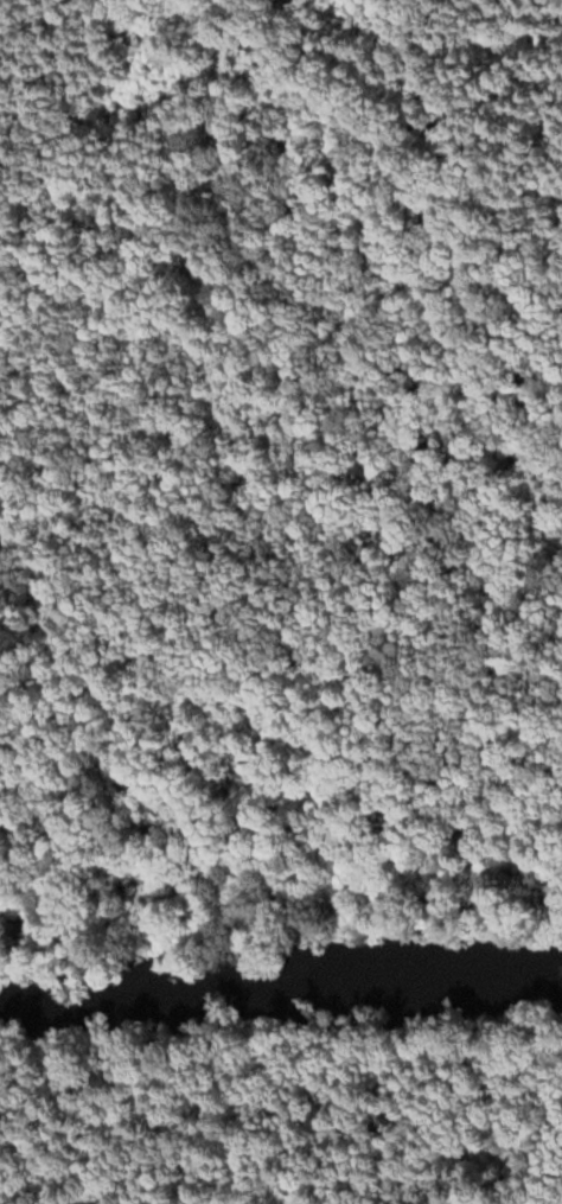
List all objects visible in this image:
river: (279, 1017)

